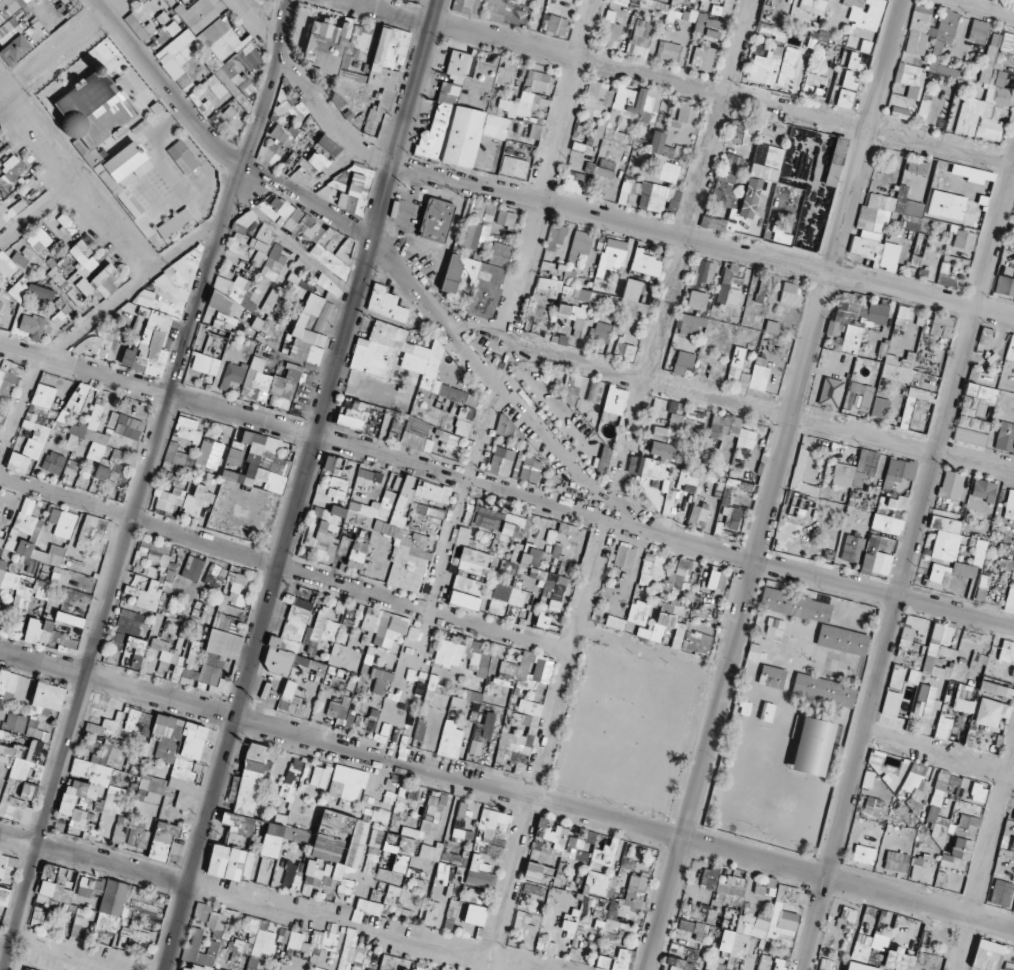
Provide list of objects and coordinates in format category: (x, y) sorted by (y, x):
park: (629, 731)

